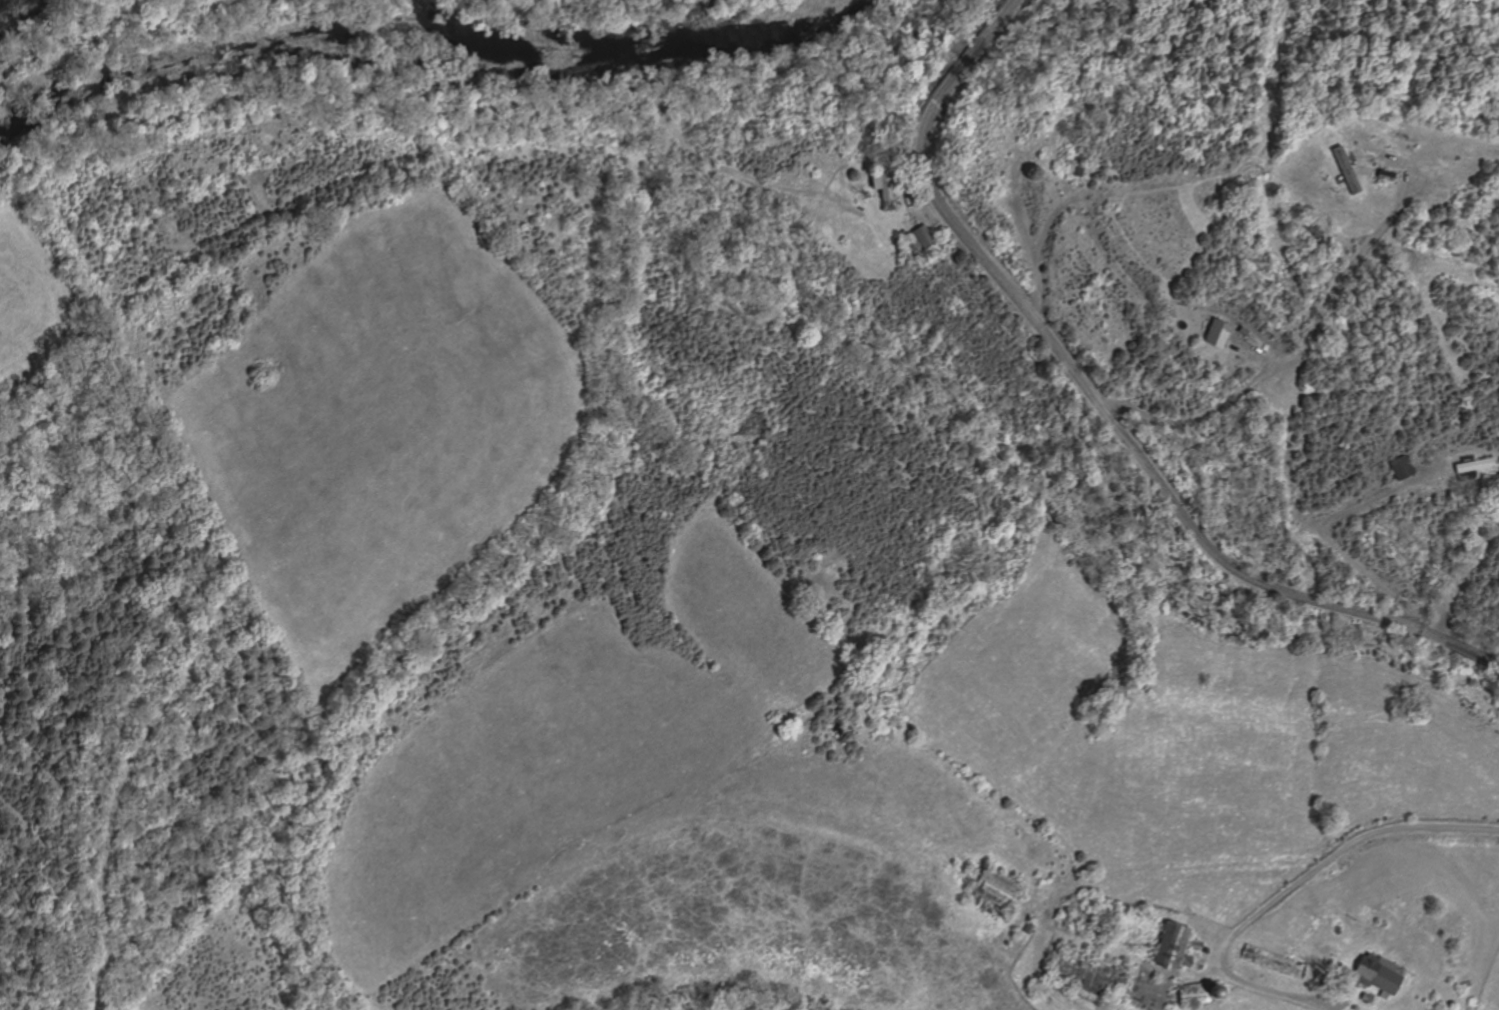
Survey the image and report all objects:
building: (1076, 169)
building: (1345, 170)
building: (1383, 173)
road: (903, 179)
building: (880, 182)
road: (1027, 229)
building: (917, 241)
road: (1037, 250)
building: (1242, 330)
building: (1216, 332)
road: (1255, 355)
road: (1299, 358)
road: (1101, 404)
building: (1471, 463)
building: (1401, 467)
building: (1492, 478)
road: (1322, 528)
road: (1462, 581)
building: (995, 889)
road: (1287, 889)
building: (1192, 945)
building: (1170, 947)
building: (1088, 975)
building: (1375, 975)
building: (1192, 993)
building: (1364, 998)
building: (1352, 1007)

